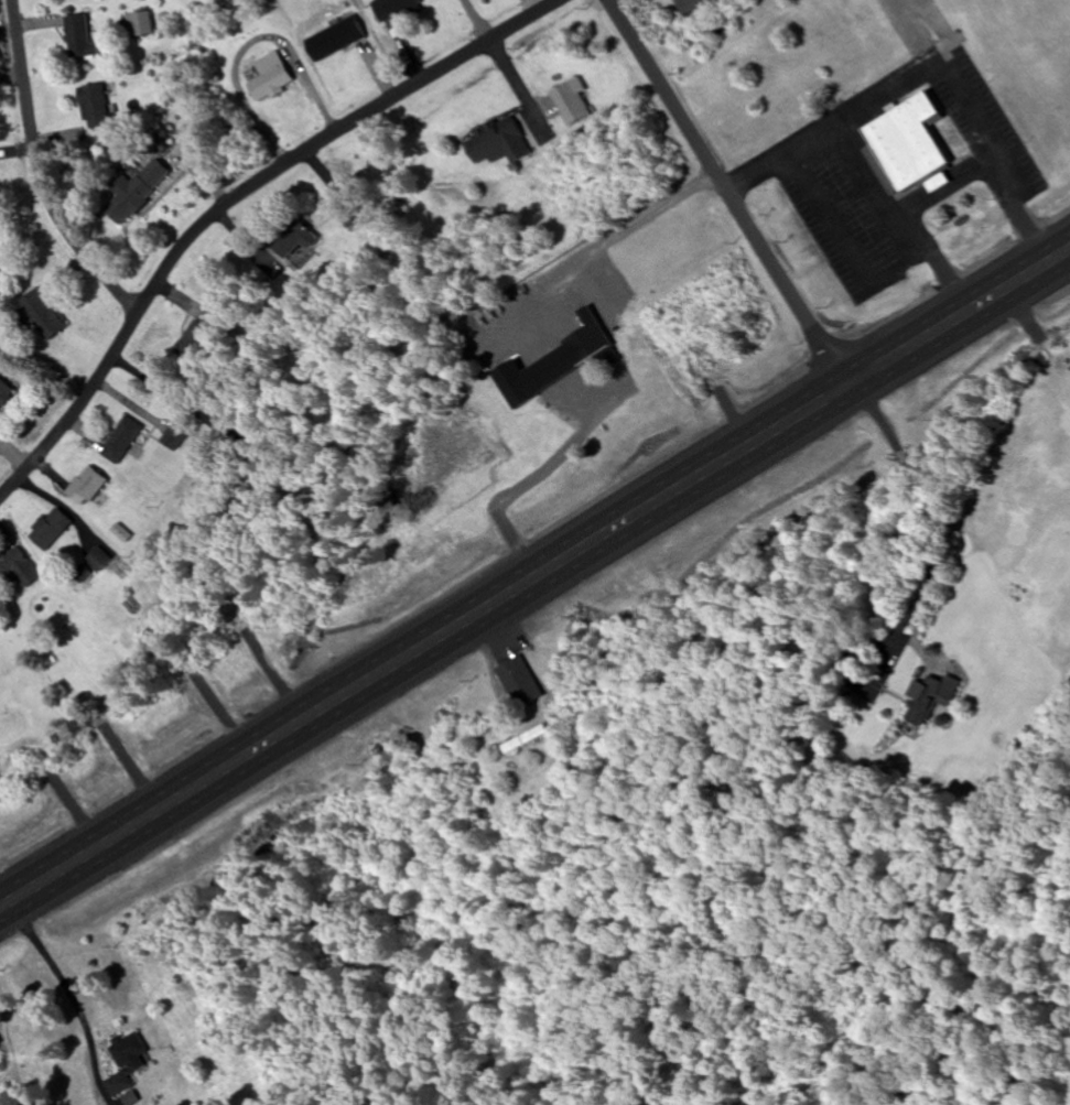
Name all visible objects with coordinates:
building: (690, 4)
building: (395, 9)
building: (140, 24)
building: (82, 37)
building: (336, 39)
building: (271, 77)
building: (571, 101)
building: (96, 106)
road: (332, 136)
building: (494, 139)
building: (908, 148)
road: (41, 172)
building: (134, 192)
road: (727, 194)
building: (349, 214)
building: (295, 240)
building: (43, 316)
building: (201, 336)
building: (6, 393)
road: (78, 411)
building: (175, 438)
building: (122, 441)
building: (87, 486)
building: (50, 529)
building: (17, 568)
road: (534, 579)
building: (559, 680)
building: (521, 681)
building: (930, 697)
building: (63, 740)
building: (528, 740)
road: (71, 990)
building: (128, 1062)

